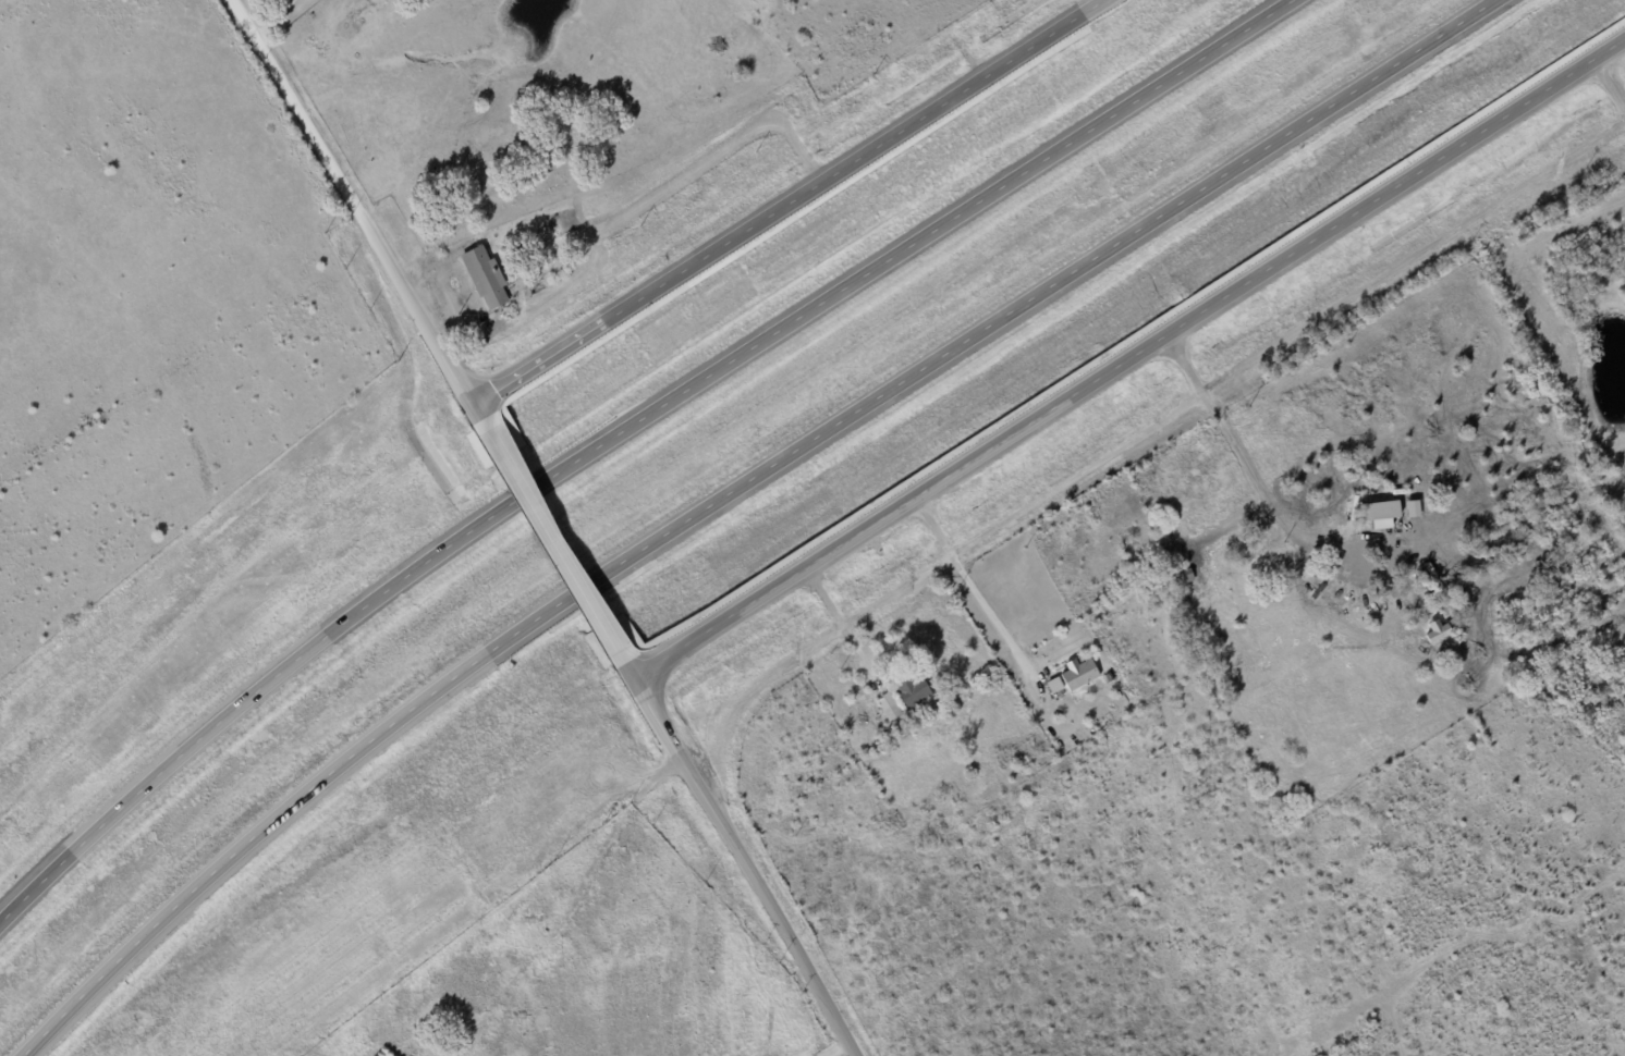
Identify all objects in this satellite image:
road: (270, 19)
road: (351, 200)
road: (784, 202)
road: (1444, 235)
building: (486, 277)
road: (1127, 357)
road: (477, 419)
road: (622, 430)
road: (1101, 454)
road: (1256, 482)
road: (736, 493)
building: (1413, 508)
building: (1381, 513)
road: (921, 531)
road: (551, 543)
road: (823, 595)
road: (979, 618)
building: (1439, 630)
road: (805, 651)
building: (1078, 673)
building: (1054, 685)
building: (913, 690)
building: (889, 705)
road: (669, 737)
road: (787, 938)
road: (833, 1049)

